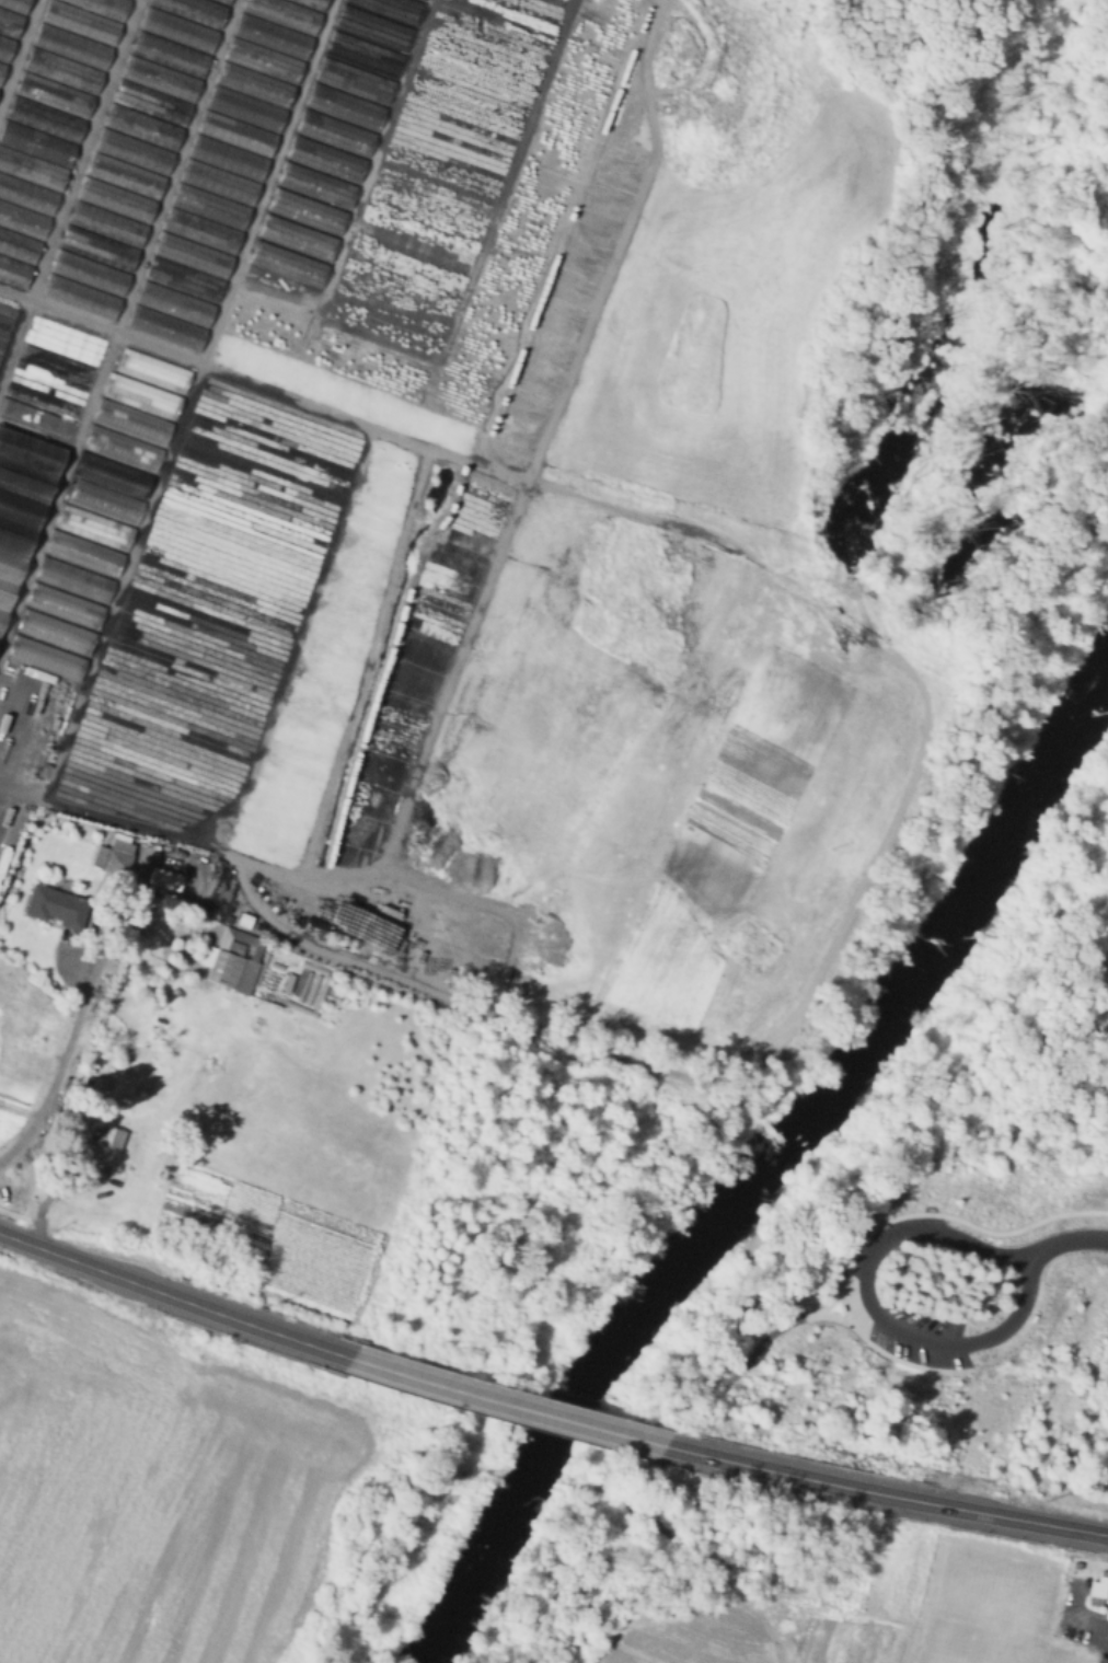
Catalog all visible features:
building: (222, 2)
building: (311, 4)
building: (15, 5)
building: (103, 7)
building: (194, 11)
building: (284, 14)
building: (80, 22)
building: (10, 24)
building: (177, 31)
building: (273, 38)
building: (71, 47)
building: (5, 49)
road: (20, 55)
building: (169, 55)
building: (263, 62)
building: (1, 71)
building: (62, 71)
building: (160, 79)
building: (254, 86)
building: (53, 95)
building: (151, 104)
building: (244, 111)
building: (44, 119)
building: (141, 127)
building: (236, 136)
building: (36, 143)
road: (83, 151)
building: (132, 152)
building: (227, 159)
road: (175, 166)
building: (32, 170)
building: (124, 176)
building: (218, 183)
building: (27, 195)
building: (115, 201)
building: (209, 208)
building: (22, 221)
building: (106, 226)
building: (201, 233)
building: (18, 247)
building: (97, 249)
building: (193, 257)
building: (14, 274)
building: (89, 274)
building: (183, 280)
building: (81, 299)
building: (174, 305)
building: (166, 331)
road: (192, 402)
road: (541, 441)
building: (22, 507)
crop: (662, 571)
road: (823, 573)
road: (797, 589)
road: (295, 651)
road: (363, 663)
road: (88, 816)
building: (113, 859)
building: (170, 880)
building: (55, 908)
building: (244, 919)
road: (68, 968)
building: (226, 968)
road: (89, 986)
road: (492, 1005)
building: (108, 1153)
river: (761, 1154)
road: (931, 1214)
road: (1080, 1239)
road: (845, 1290)
parking lot: (1025, 1291)
road: (172, 1300)
road: (867, 1302)
road: (859, 1304)
park: (905, 1306)
building: (839, 1307)
road: (852, 1308)
road: (706, 1348)
road: (882, 1351)
building: (731, 1382)
crop: (89, 1402)
road: (503, 1402)
road: (882, 1494)
crop: (196, 1541)
building: (1097, 1586)
road: (1074, 1598)
building: (1092, 1601)
crop: (989, 1614)
road: (1088, 1628)
crop: (752, 1637)

